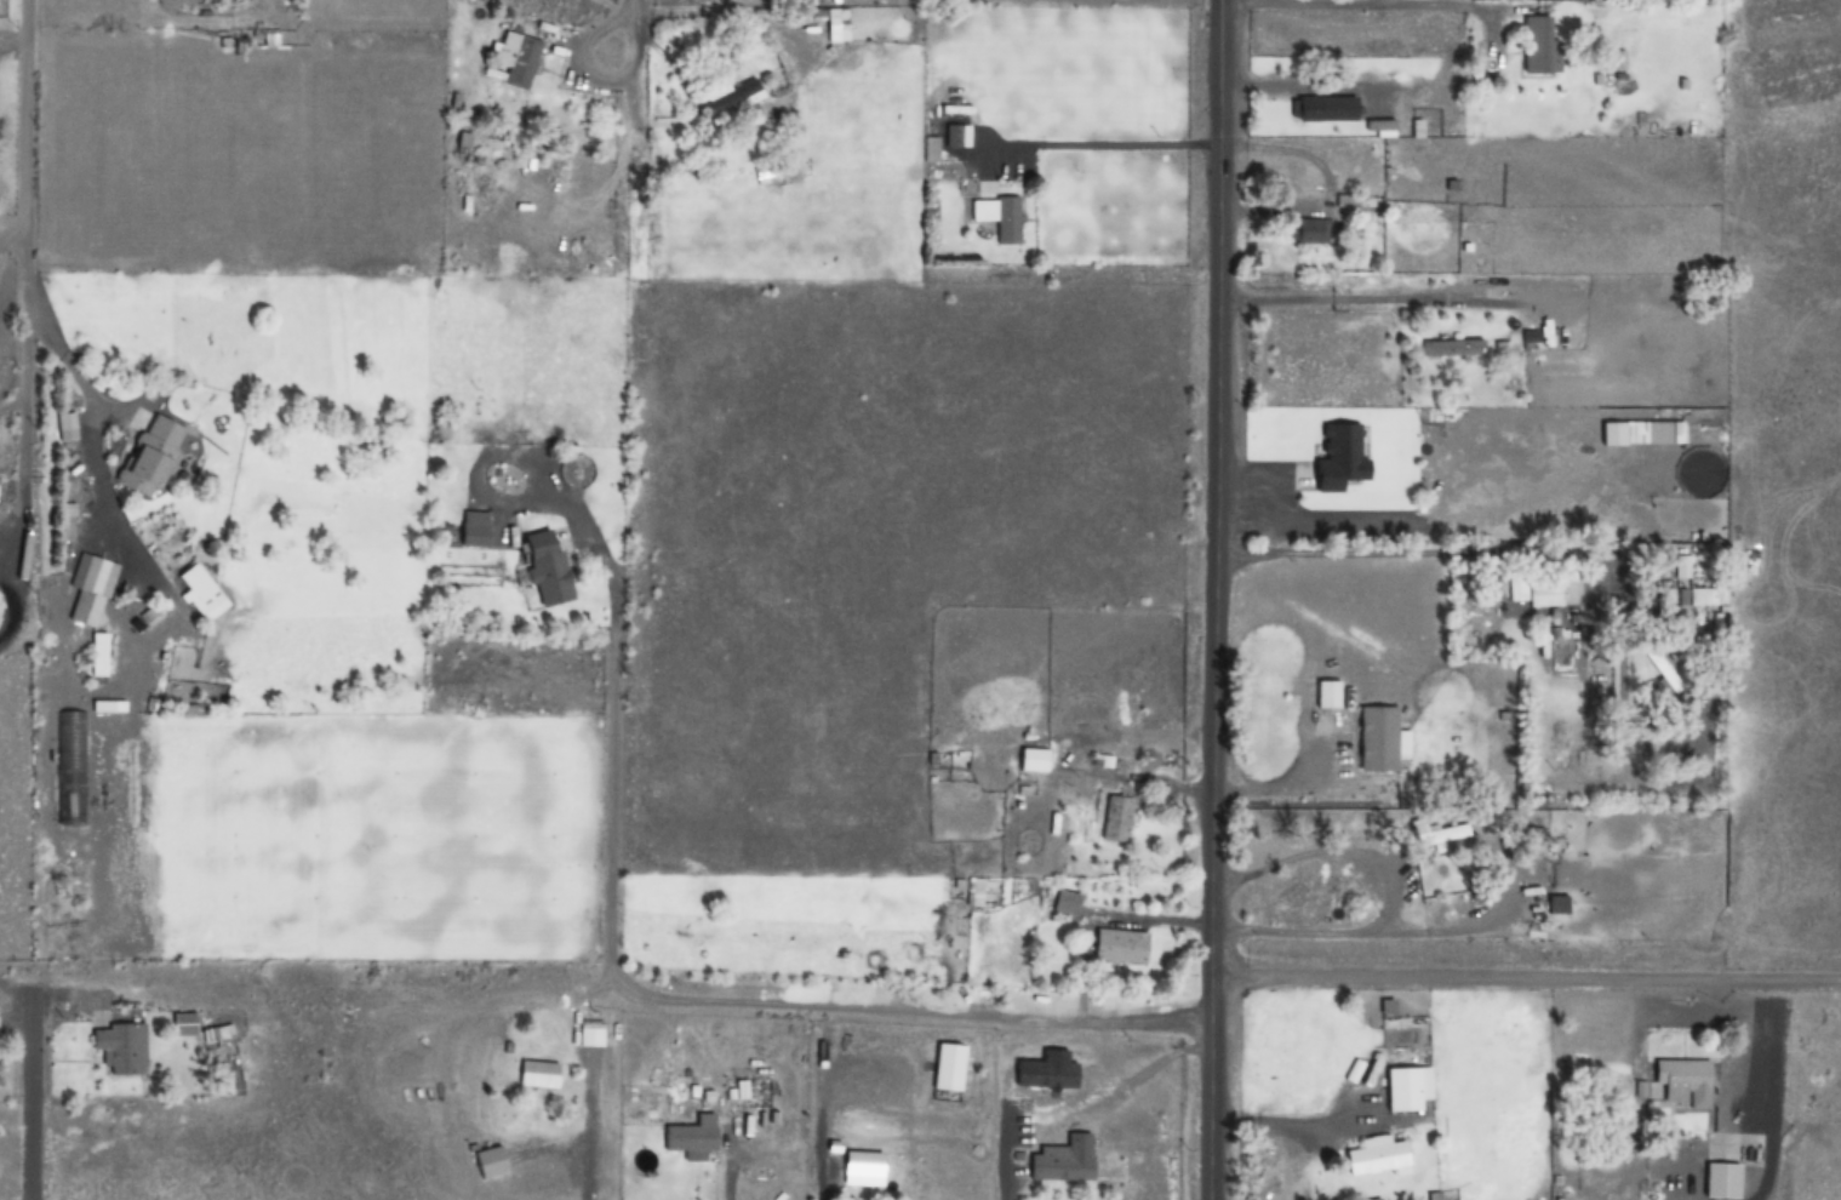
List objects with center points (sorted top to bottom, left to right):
road: (633, 32)
building: (1540, 44)
building: (514, 58)
building: (730, 96)
building: (1311, 109)
building: (956, 135)
building: (999, 218)
building: (1310, 233)
road: (11, 241)
road: (22, 270)
building: (1528, 327)
building: (1454, 348)
building: (153, 453)
building: (473, 527)
building: (543, 567)
building: (1560, 589)
building: (88, 590)
road: (1213, 599)
building: (1662, 668)
building: (1334, 695)
building: (1378, 738)
building: (1036, 760)
building: (1120, 818)
building: (1439, 834)
building: (1069, 902)
building: (1556, 903)
building: (1124, 944)
road: (1525, 972)
building: (182, 1023)
building: (587, 1033)
building: (118, 1046)
building: (953, 1067)
building: (537, 1073)
building: (1683, 1080)
building: (1410, 1087)
road: (30, 1098)
building: (690, 1137)
building: (1380, 1155)
building: (1065, 1160)
building: (487, 1161)
building: (864, 1167)
building: (1722, 1179)

